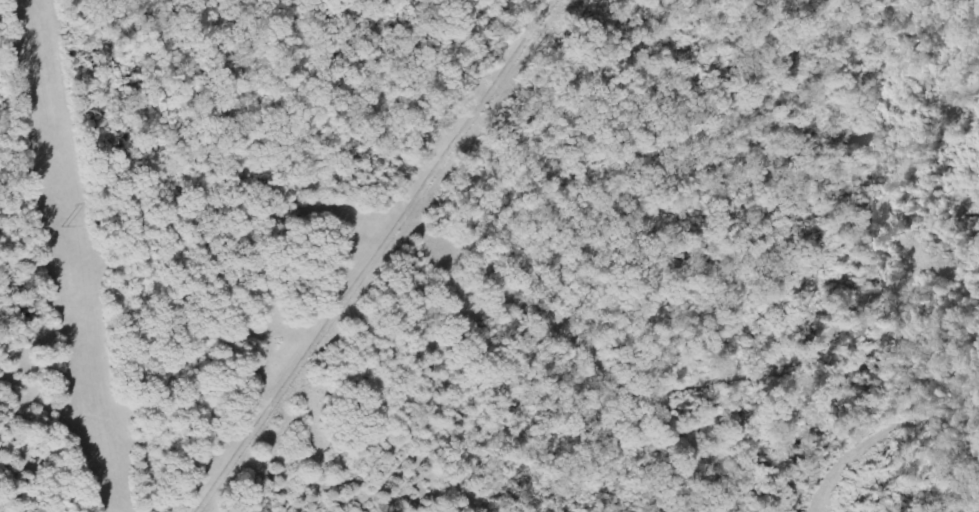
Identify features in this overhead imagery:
power tower: (65, 225)

